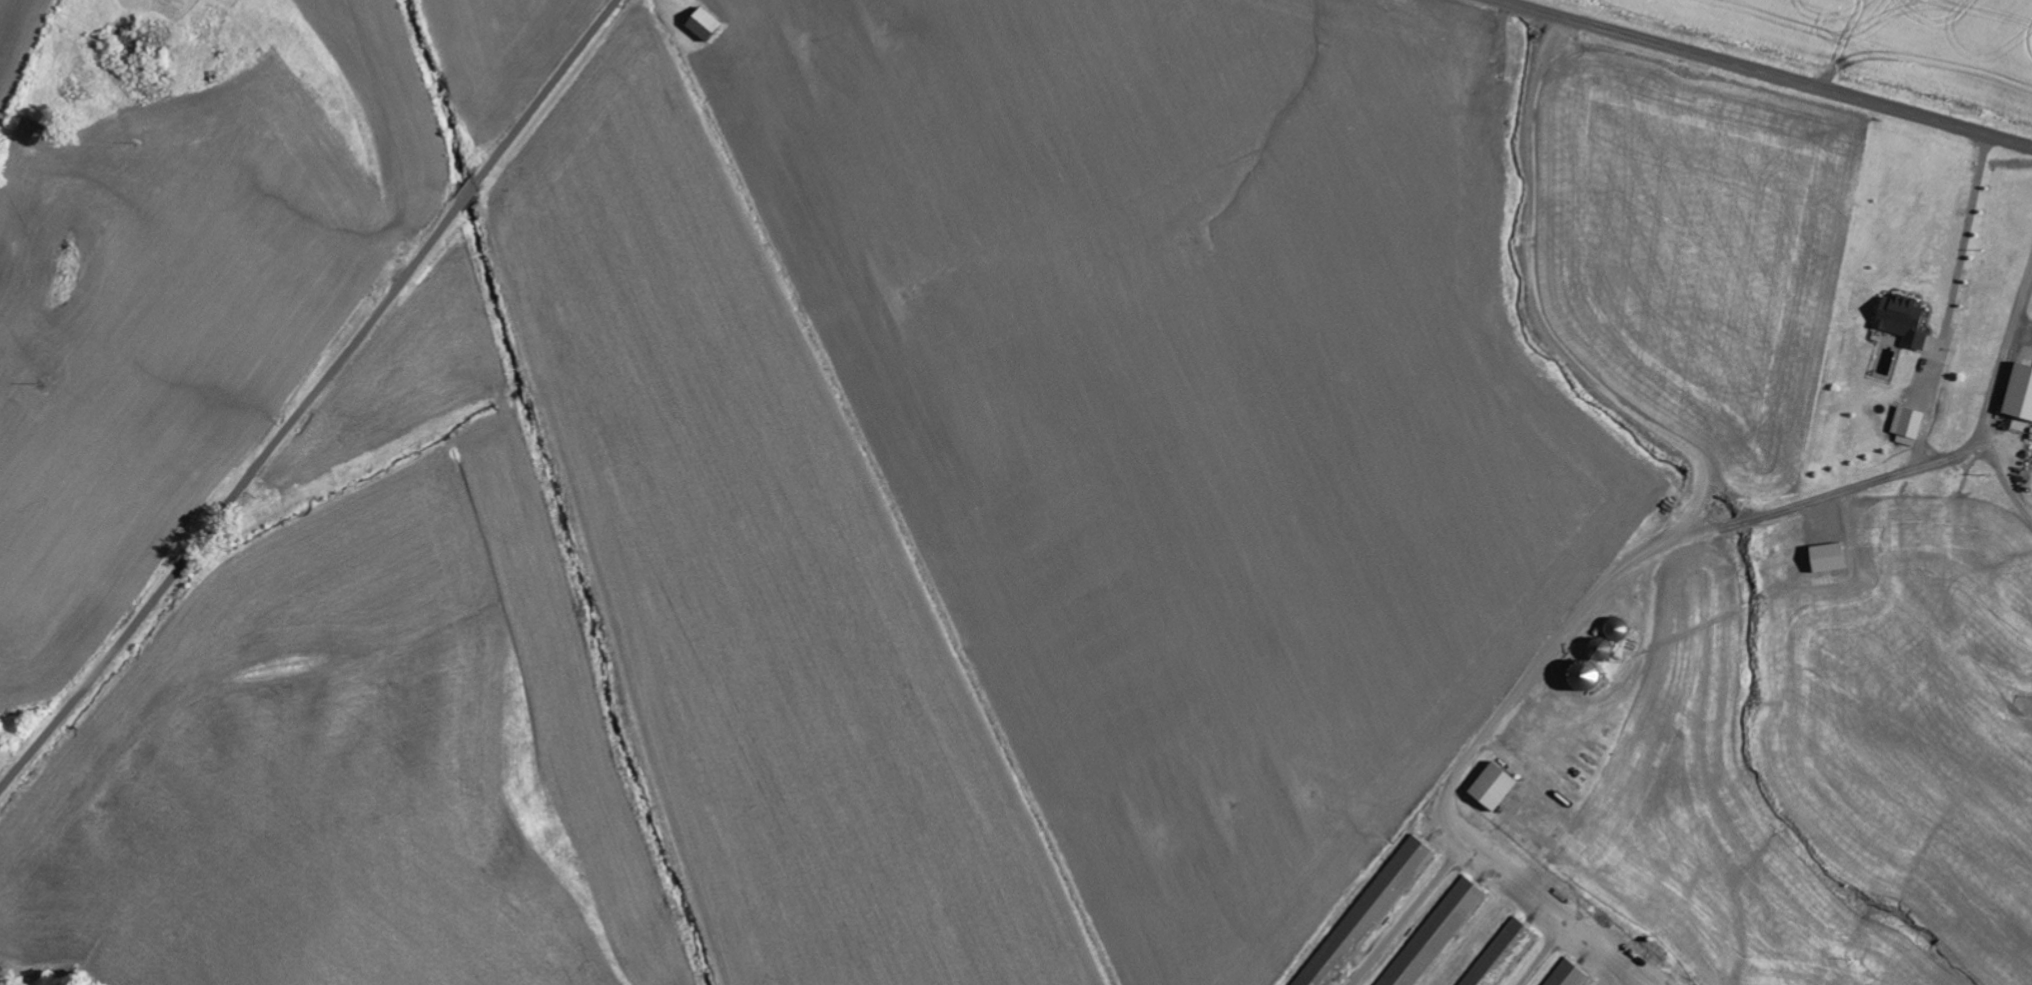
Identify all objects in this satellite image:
building: (710, 26)
road: (1766, 72)
building: (1909, 319)
building: (2021, 390)
road: (312, 397)
building: (1912, 425)
road: (1914, 576)
building: (1604, 658)
building: (1499, 785)
building: (1371, 910)
building: (1437, 932)
building: (1502, 952)

